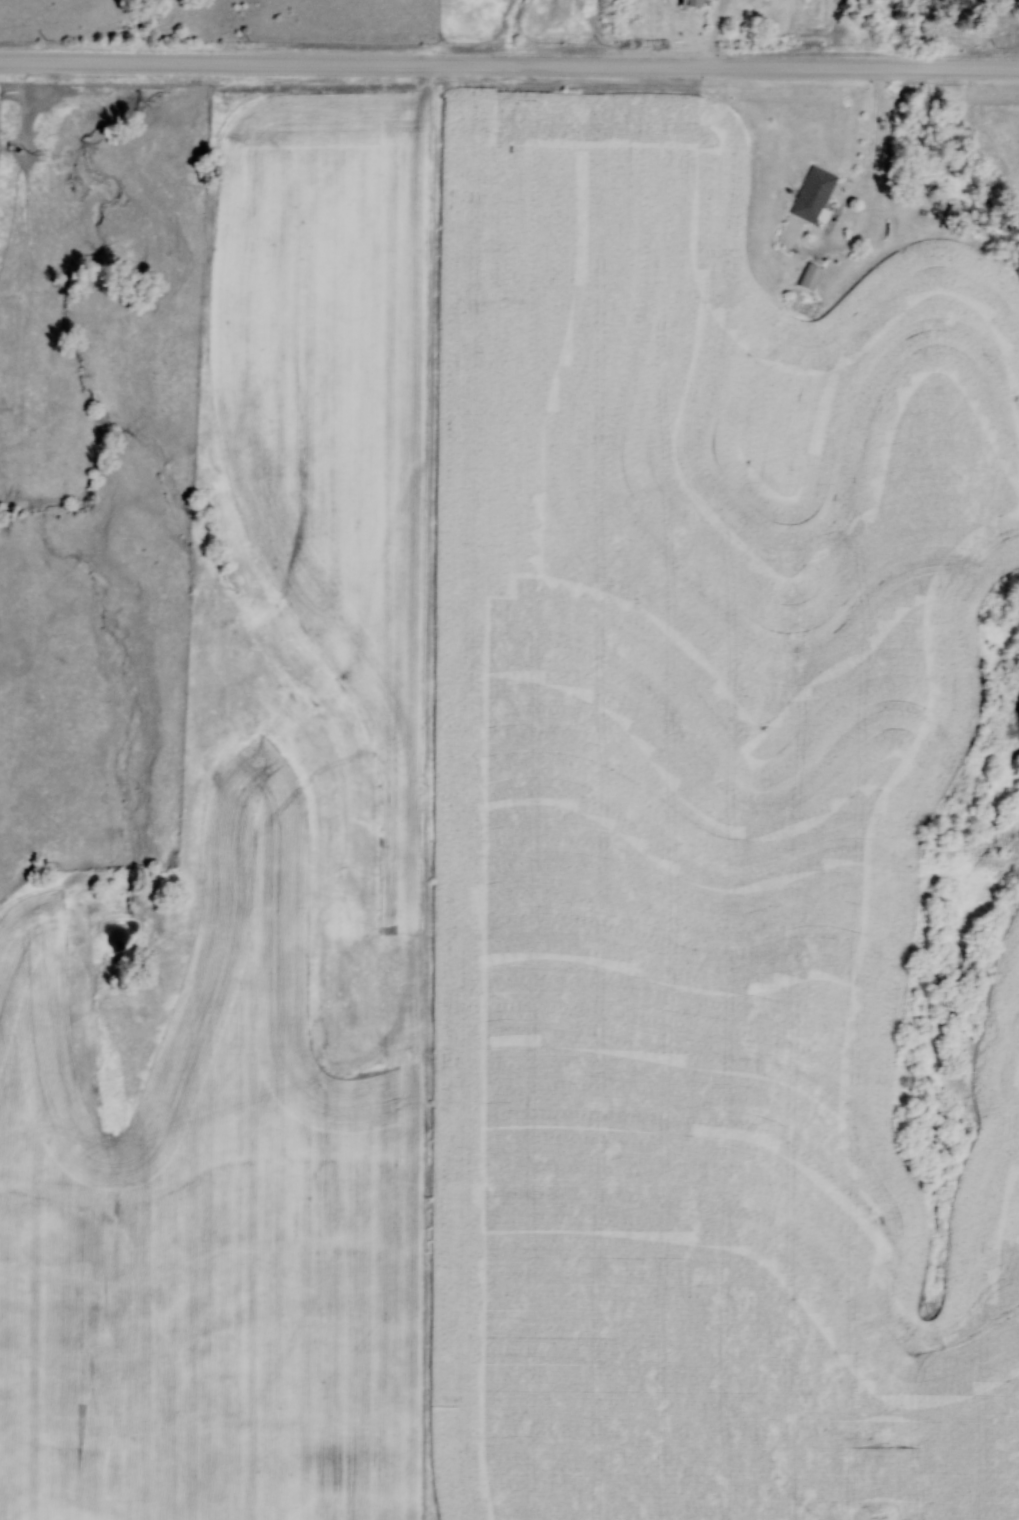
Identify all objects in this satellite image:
building: (688, 2)
road: (722, 34)
road: (509, 70)
road: (881, 133)
building: (812, 192)
road: (856, 244)
building: (808, 275)

